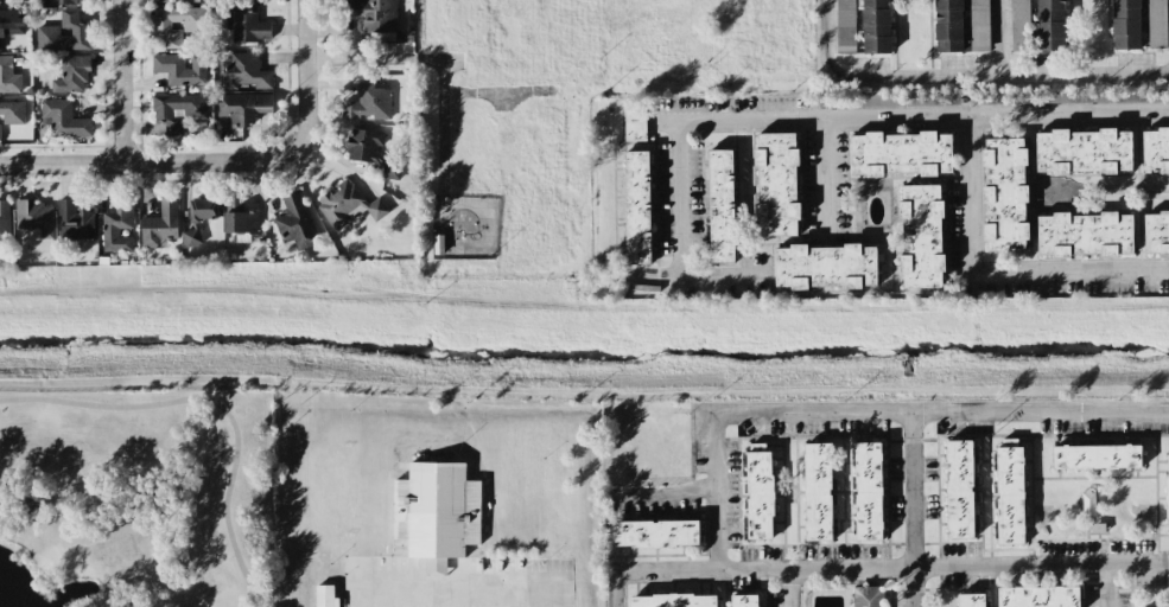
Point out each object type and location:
building: (64, 1)
building: (166, 1)
building: (376, 18)
building: (12, 23)
building: (1157, 23)
building: (176, 24)
building: (1126, 24)
building: (864, 25)
building: (979, 25)
building: (1019, 25)
building: (1050, 25)
building: (247, 26)
building: (948, 26)
building: (64, 33)
road: (1000, 37)
road: (381, 59)
building: (179, 69)
building: (242, 71)
building: (72, 75)
road: (962, 75)
building: (8, 76)
road: (125, 82)
building: (888, 100)
building: (368, 103)
building: (242, 107)
building: (177, 110)
building: (12, 113)
road: (908, 115)
building: (64, 119)
road: (440, 126)
building: (0, 140)
building: (1155, 149)
building: (370, 152)
building: (1084, 152)
building: (901, 154)
road: (228, 162)
road: (825, 179)
building: (776, 184)
building: (1004, 194)
road: (680, 198)
building: (348, 205)
building: (720, 206)
building: (637, 207)
building: (203, 209)
building: (240, 219)
building: (4, 221)
building: (74, 221)
building: (294, 222)
building: (34, 224)
building: (159, 224)
building: (117, 225)
building: (1156, 234)
building: (1085, 235)
building: (921, 236)
building: (191, 237)
building: (825, 267)
road: (991, 273)
road: (695, 276)
road: (214, 404)
road: (941, 413)
building: (1097, 456)
building: (959, 488)
building: (760, 491)
building: (868, 491)
building: (1010, 491)
road: (714, 492)
building: (818, 492)
building: (1167, 493)
road: (662, 498)
park: (135, 499)
road: (913, 510)
building: (436, 511)
building: (655, 532)
road: (1041, 567)
road: (763, 570)
road: (1106, 586)
road: (444, 587)
road: (787, 588)
road: (614, 589)
building: (325, 595)
road: (500, 596)
building: (869, 596)
building: (1038, 596)
road: (368, 598)
building: (672, 600)
building: (745, 600)
building: (972, 600)

